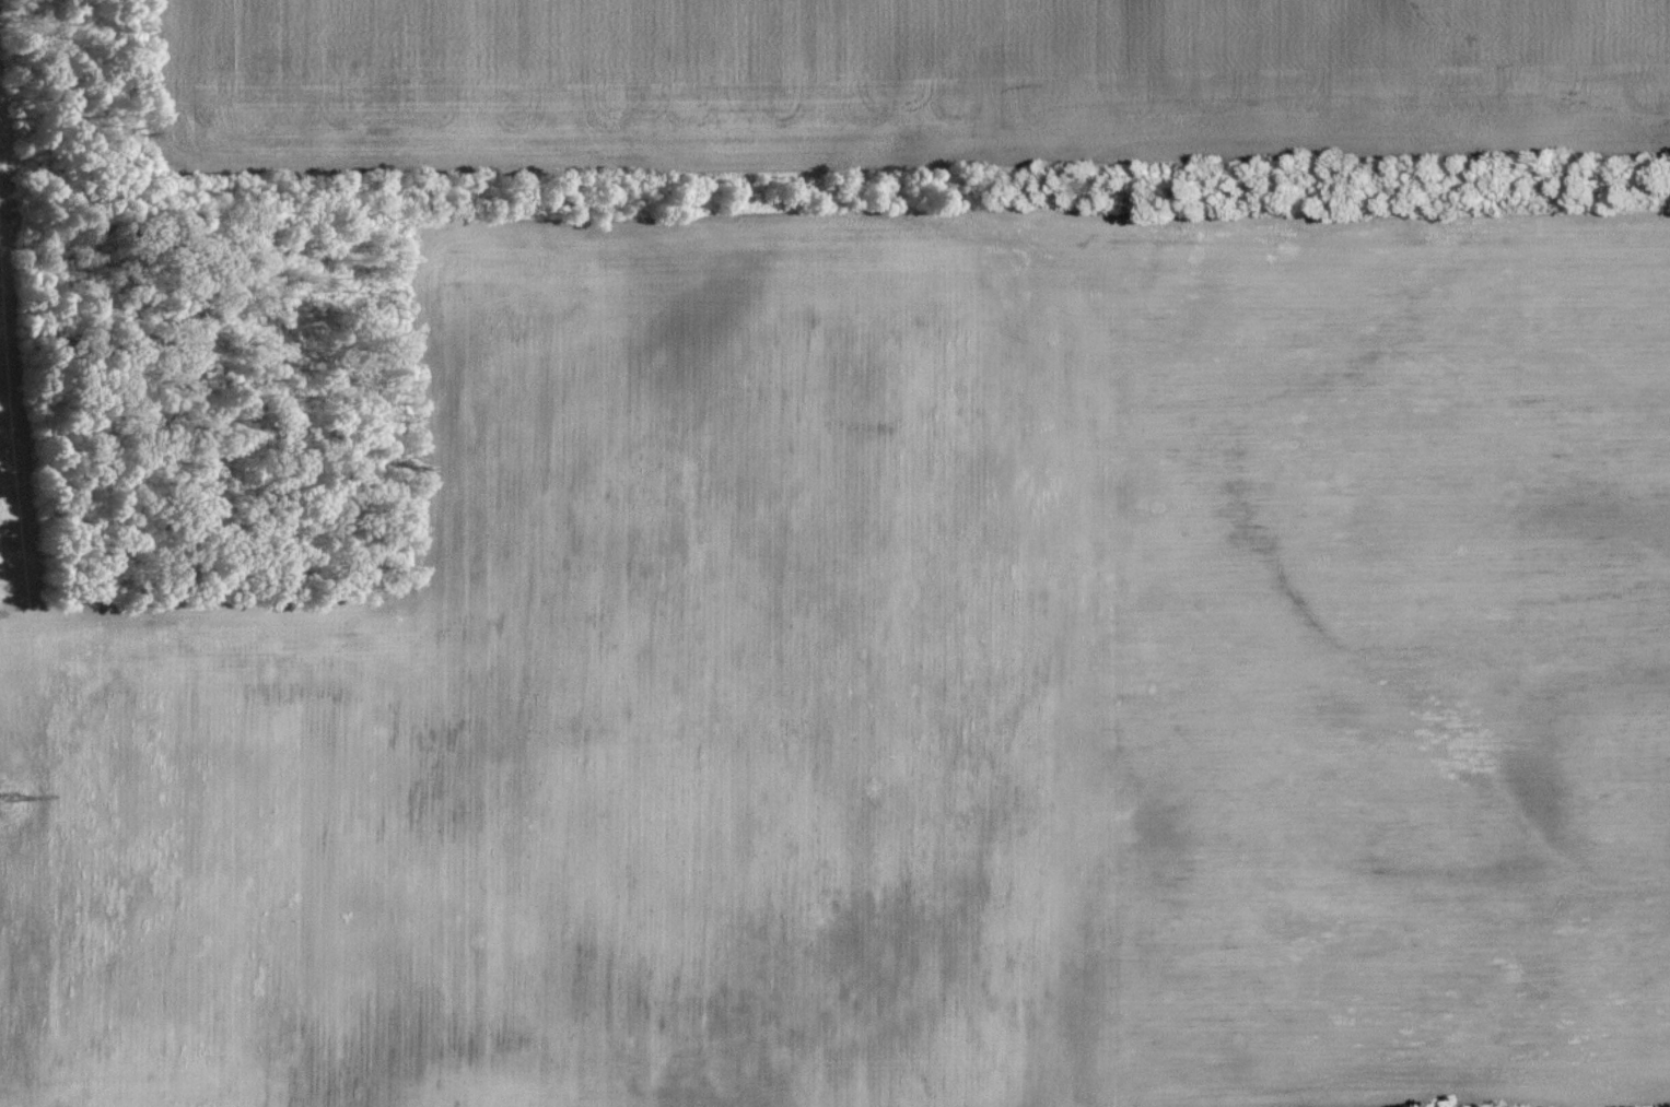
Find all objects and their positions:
power tower: (4, 799)

